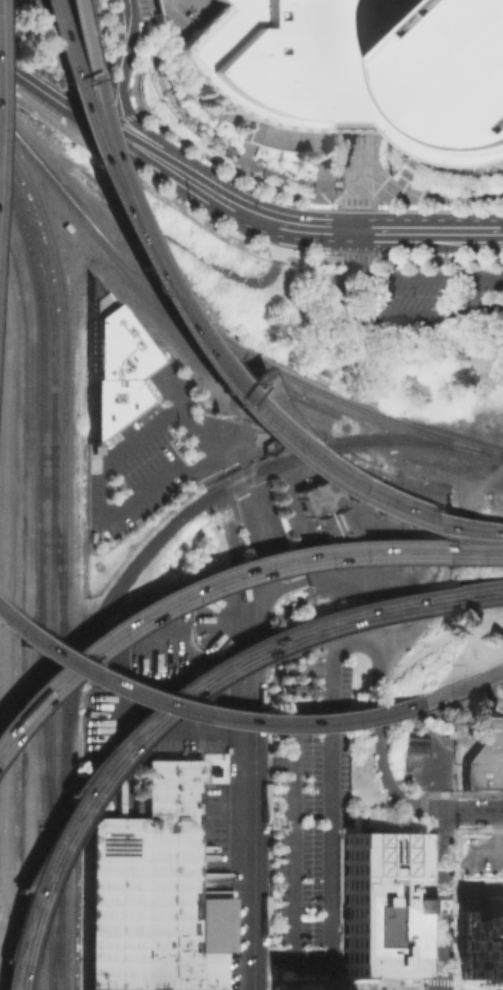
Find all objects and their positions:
road: (126, 29)
building: (361, 70)
road: (27, 84)
road: (83, 85)
road: (63, 86)
road: (107, 89)
road: (78, 110)
road: (36, 112)
road: (129, 118)
road: (102, 128)
road: (97, 139)
road: (137, 141)
road: (124, 144)
road: (208, 179)
road: (355, 181)
road: (112, 190)
road: (106, 191)
road: (190, 192)
road: (81, 193)
road: (135, 209)
road: (254, 215)
road: (315, 229)
road: (427, 230)
road: (501, 231)
road: (277, 242)
road: (355, 245)
road: (334, 288)
railway: (48, 297)
parking lot: (407, 298)
railway: (217, 336)
building: (106, 364)
railway: (63, 389)
road: (247, 410)
road: (280, 425)
road: (95, 476)
road: (500, 478)
building: (315, 496)
railway: (40, 502)
railway: (187, 509)
building: (335, 524)
road: (478, 529)
road: (257, 533)
railway: (57, 550)
road: (428, 550)
road: (451, 566)
road: (157, 603)
railway: (50, 637)
road: (255, 641)
road: (291, 653)
road: (462, 686)
road: (177, 697)
road: (202, 714)
road: (291, 714)
road: (379, 724)
railway: (61, 753)
building: (485, 760)
parking lot: (122, 786)
road: (471, 812)
road: (253, 836)
road: (329, 837)
road: (290, 839)
parking lot: (304, 857)
building: (149, 893)
building: (380, 900)
road: (439, 901)
railway: (49, 909)
railway: (76, 913)
railway: (57, 921)
railway: (60, 921)
street lamp: (306, 945)
building: (479, 947)
road: (296, 985)
road: (470, 985)
road: (358, 986)
road: (427, 986)
road: (386, 987)
road: (472, 987)
road: (338, 988)
road: (355, 988)
road: (362, 988)
road: (386, 988)
road: (395, 988)
road: (443, 988)

